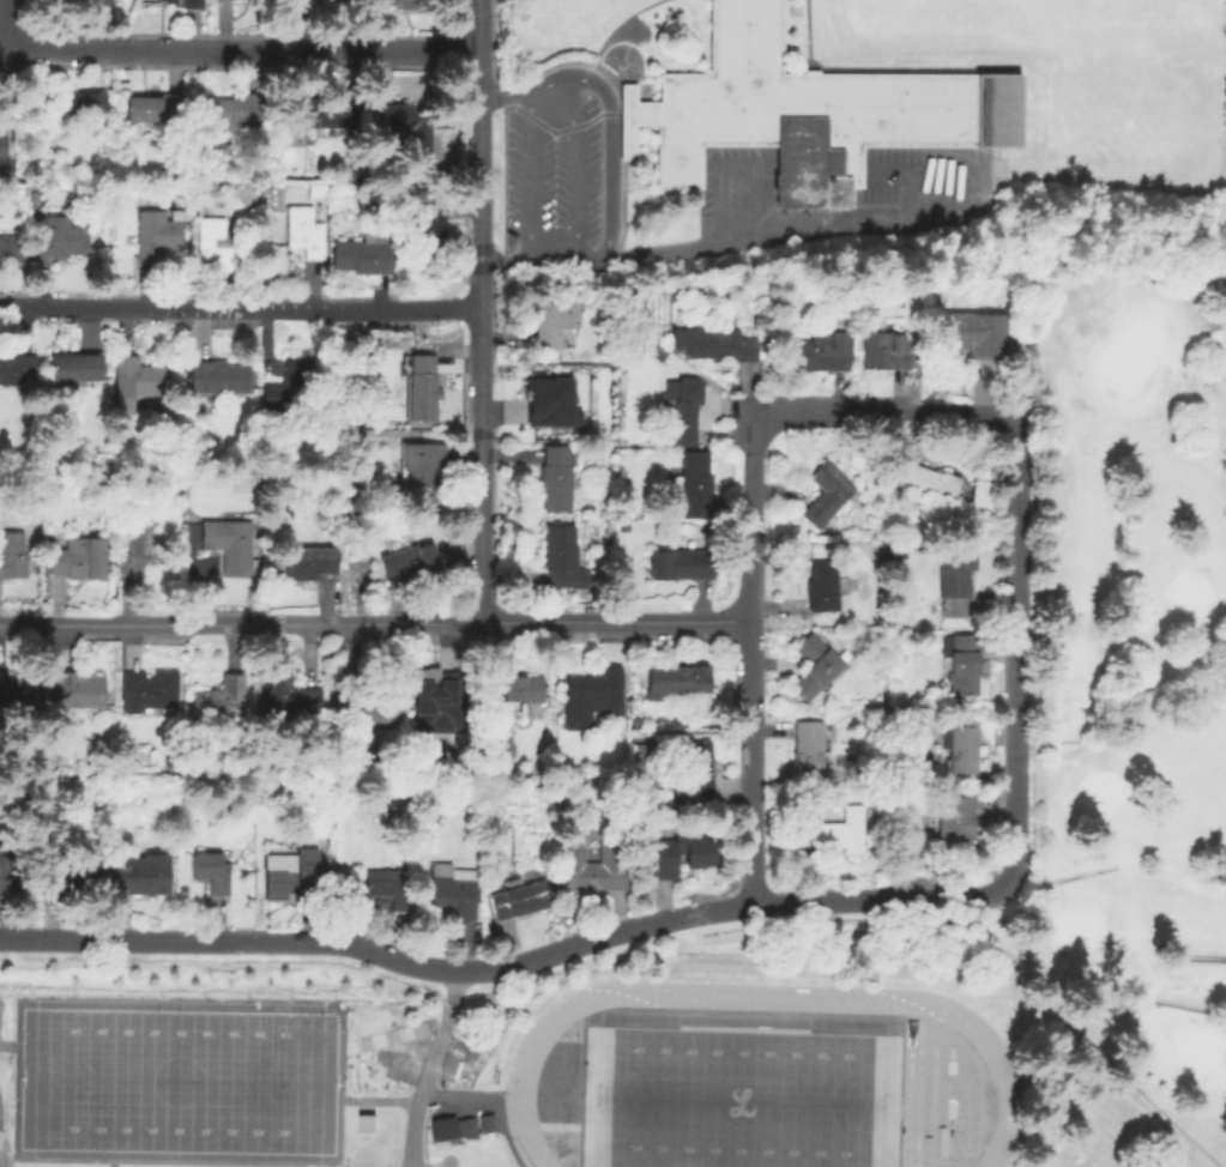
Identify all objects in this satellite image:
building: (64, 0)
building: (253, 0)
building: (169, 1)
building: (193, 4)
building: (407, 4)
park: (1035, 16)
road: (614, 25)
road: (804, 34)
road: (564, 43)
road: (237, 49)
flagpole: (621, 65)
road: (615, 95)
building: (83, 107)
road: (608, 107)
building: (156, 109)
building: (808, 111)
building: (232, 113)
building: (322, 114)
building: (403, 123)
building: (448, 138)
building: (2, 152)
road: (579, 157)
road: (737, 168)
parking lot: (904, 170)
road: (899, 175)
road: (533, 177)
parking lot: (555, 177)
road: (984, 182)
parking lot: (738, 187)
building: (318, 192)
building: (37, 212)
building: (427, 230)
building: (304, 232)
building: (158, 235)
building: (60, 242)
building: (217, 246)
road: (682, 247)
building: (10, 249)
building: (363, 255)
road: (238, 306)
road: (477, 310)
building: (748, 316)
building: (554, 324)
building: (977, 335)
building: (715, 345)
building: (883, 351)
building: (822, 353)
park: (1127, 355)
building: (77, 368)
building: (18, 370)
building: (219, 379)
building: (135, 382)
building: (291, 388)
building: (422, 388)
building: (558, 401)
building: (686, 410)
road: (886, 416)
building: (563, 439)
building: (422, 468)
building: (557, 480)
building: (929, 484)
building: (696, 485)
building: (828, 495)
building: (610, 526)
building: (188, 534)
building: (228, 546)
building: (137, 552)
building: (12, 556)
building: (561, 556)
building: (79, 561)
building: (304, 563)
building: (410, 564)
building: (683, 566)
building: (955, 581)
building: (820, 586)
park: (1185, 589)
road: (373, 623)
park: (1130, 652)
road: (745, 654)
road: (1010, 658)
building: (810, 665)
building: (964, 666)
building: (676, 682)
building: (77, 691)
building: (150, 691)
building: (520, 691)
building: (19, 693)
building: (597, 693)
building: (289, 696)
building: (447, 699)
building: (219, 700)
building: (372, 703)
building: (638, 724)
building: (567, 726)
building: (501, 748)
building: (809, 749)
building: (960, 749)
building: (695, 770)
building: (575, 773)
park: (1095, 787)
building: (954, 822)
building: (838, 830)
building: (682, 854)
building: (11, 869)
building: (594, 870)
building: (211, 873)
building: (87, 876)
building: (141, 876)
building: (292, 877)
building: (379, 893)
building: (453, 893)
building: (521, 900)
park: (1075, 926)
road: (501, 965)
park: (1196, 1047)
road: (425, 1066)
track: (517, 1075)
park: (175, 1080)
park: (175, 1080)
road: (460, 1092)
park: (737, 1098)
building: (488, 1124)
building: (464, 1126)
building: (441, 1129)
road: (5, 1157)

